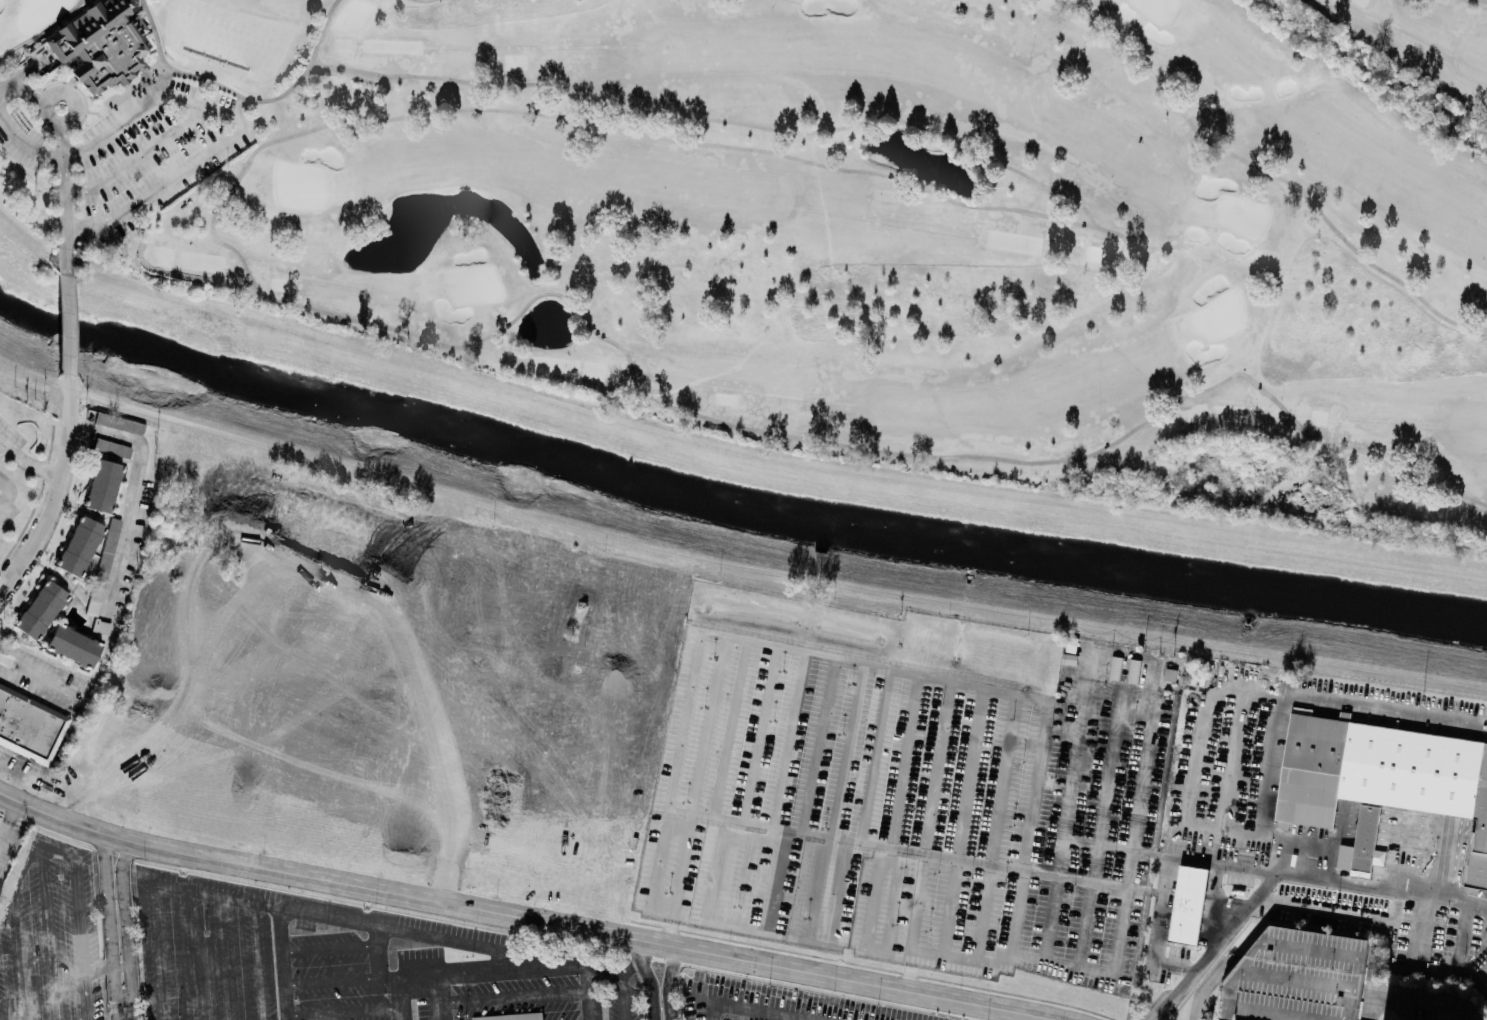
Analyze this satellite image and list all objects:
building: (100, 43)
road: (23, 69)
road: (26, 90)
road: (207, 108)
road: (50, 119)
parking lot: (21, 138)
parking lot: (152, 151)
road: (136, 157)
road: (63, 184)
park: (832, 220)
road: (65, 261)
road: (67, 325)
building: (119, 422)
road: (1, 443)
building: (112, 447)
road: (29, 463)
building: (102, 485)
road: (6, 489)
road: (61, 490)
road: (134, 493)
river: (735, 502)
building: (79, 545)
building: (103, 565)
building: (40, 609)
building: (72, 645)
road: (43, 677)
road: (1286, 698)
building: (29, 725)
road: (21, 773)
building: (1383, 775)
road: (16, 785)
road: (1068, 790)
road: (7, 817)
road: (823, 834)
building: (1366, 840)
road: (660, 864)
road: (23, 865)
road: (1007, 867)
road: (1274, 872)
road: (154, 901)
building: (1188, 904)
road: (6, 908)
road: (1015, 911)
road: (328, 913)
road: (529, 917)
road: (81, 922)
road: (671, 925)
road: (111, 928)
road: (1417, 929)
road: (127, 930)
road: (51, 934)
road: (1217, 947)
road: (339, 948)
road: (190, 954)
road: (17, 957)
road: (224, 957)
road: (984, 958)
road: (641, 960)
road: (283, 962)
road: (910, 968)
road: (490, 971)
road: (342, 979)
road: (668, 982)
road: (439, 989)
road: (651, 989)
road: (589, 996)
road: (515, 997)
road: (810, 997)
road: (695, 998)
road: (730, 1001)
road: (1425, 1003)
road: (762, 1004)
road: (795, 1007)
road: (344, 1010)
road: (826, 1010)
road: (441, 1012)
road: (860, 1013)
road: (890, 1016)
building: (510, 1017)

